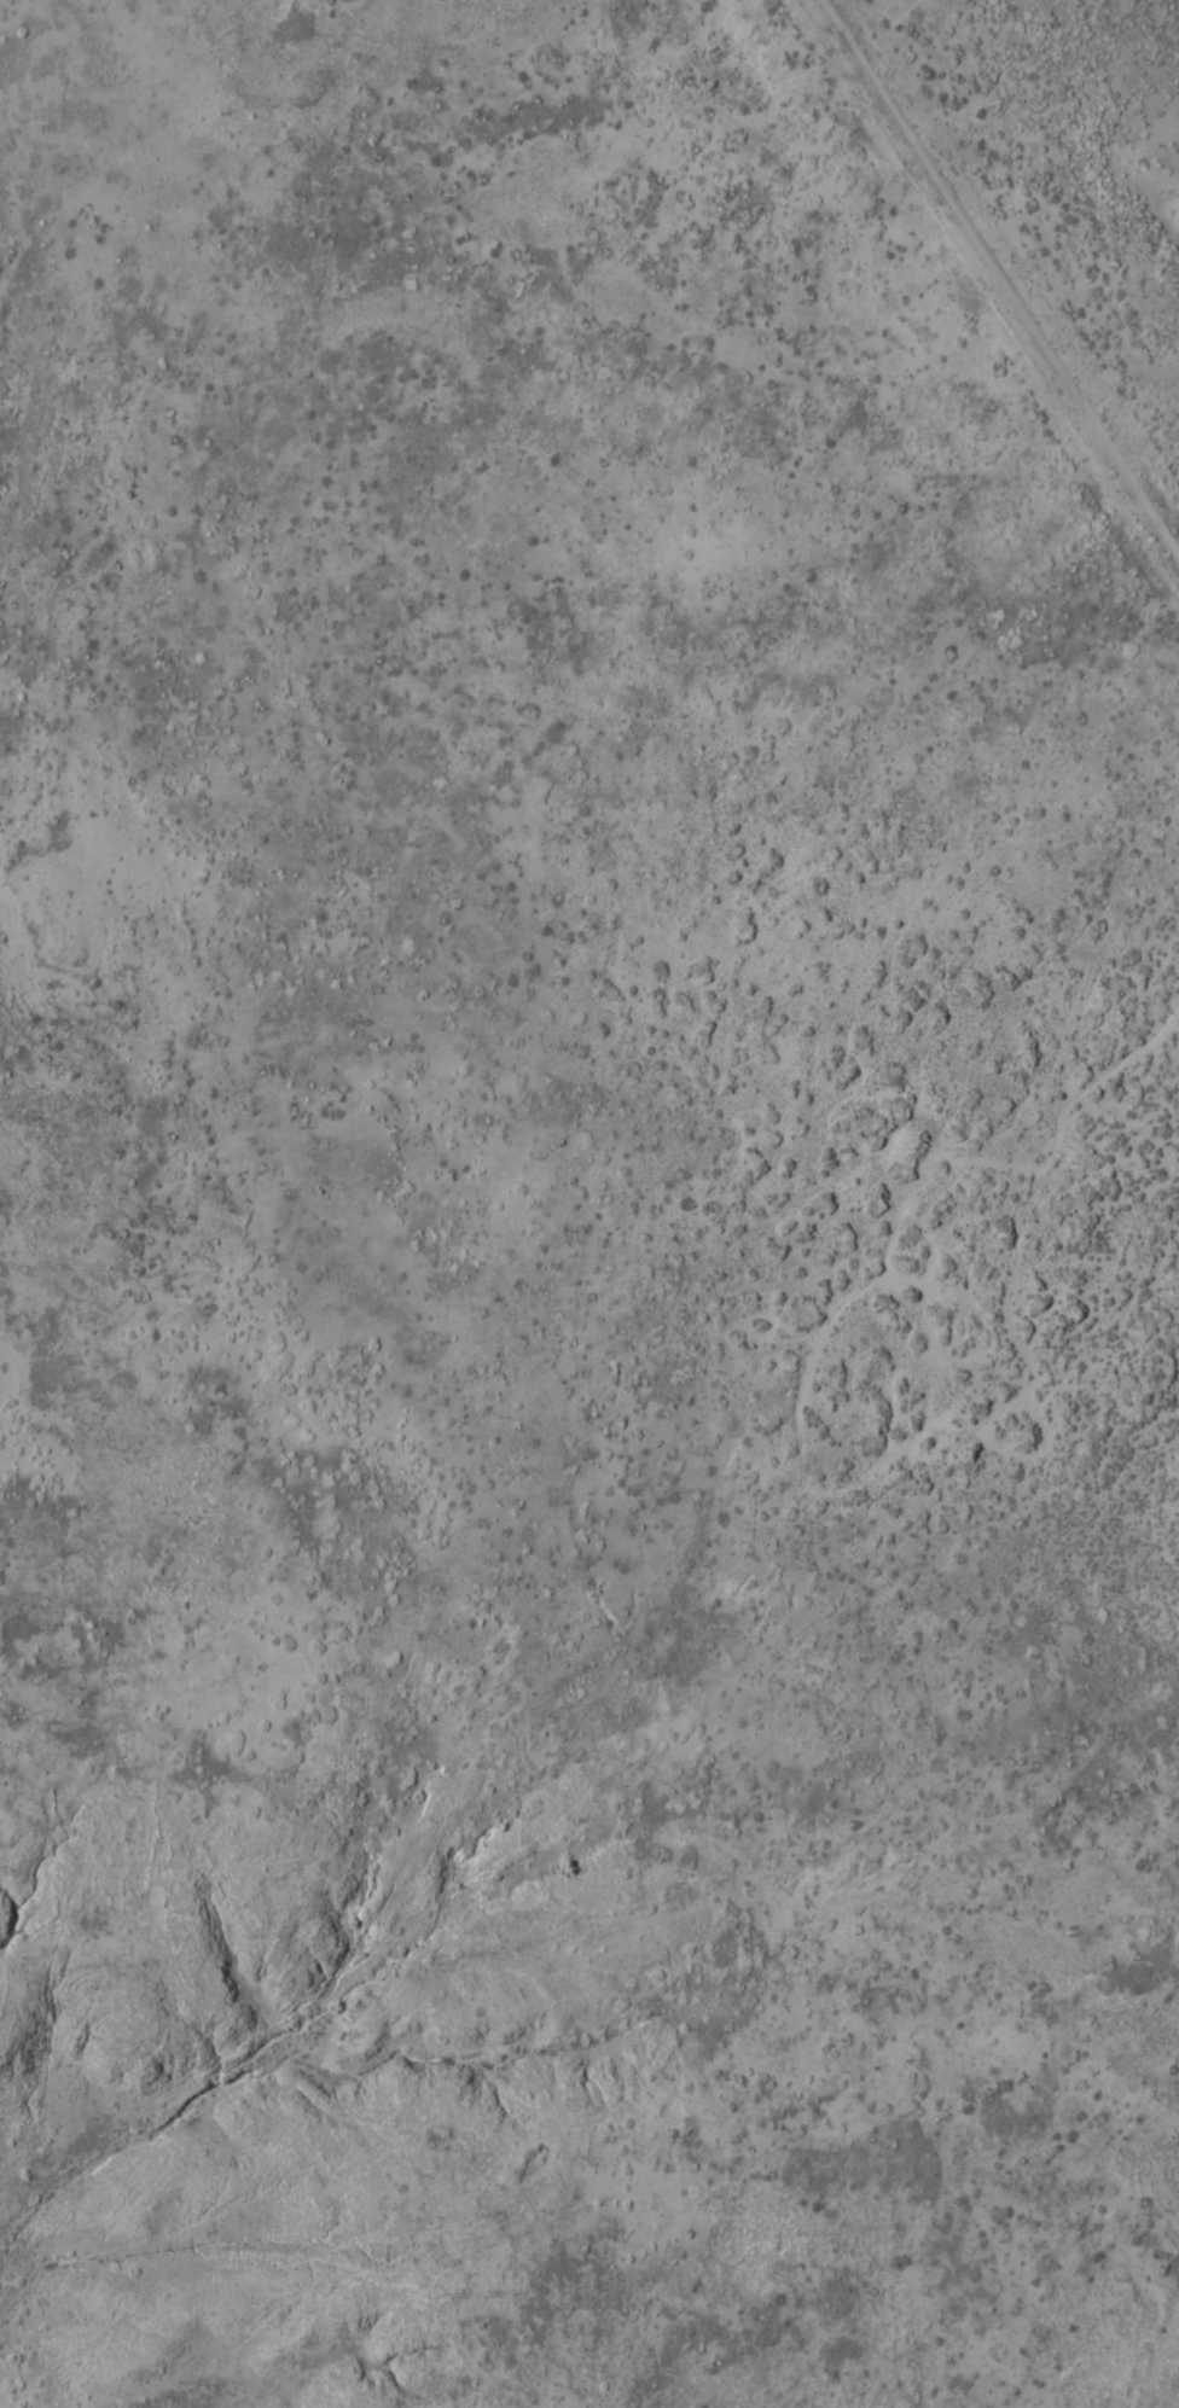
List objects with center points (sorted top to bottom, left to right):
road: (960, 312)

